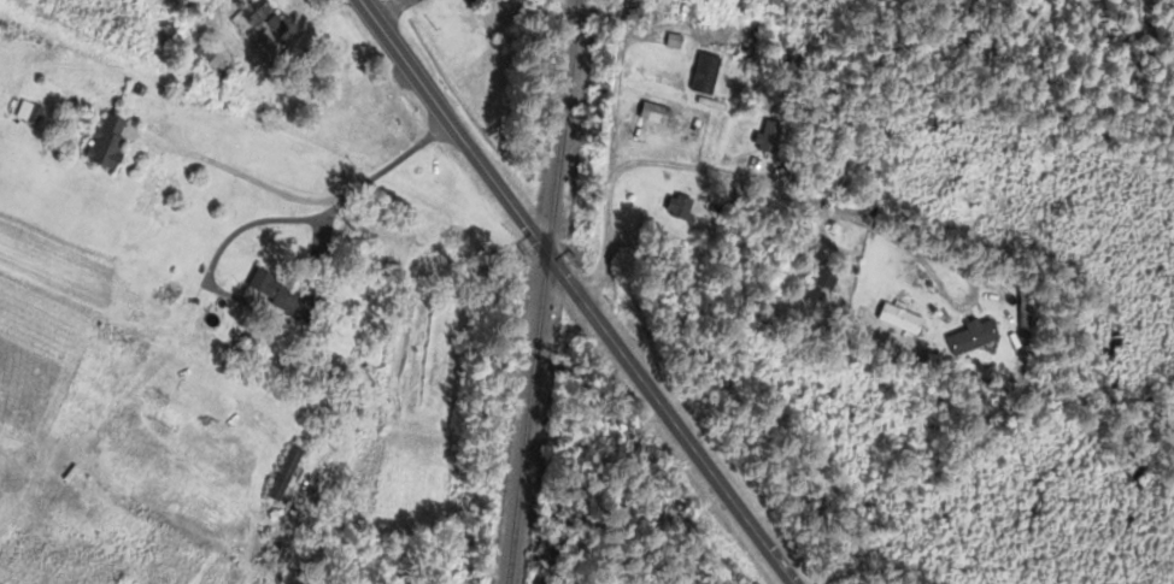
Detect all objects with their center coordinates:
road: (388, 10)
building: (258, 18)
building: (206, 64)
building: (702, 76)
building: (651, 114)
building: (765, 138)
building: (104, 143)
road: (609, 154)
road: (300, 196)
building: (677, 210)
road: (851, 217)
road: (321, 228)
road: (231, 234)
building: (257, 283)
building: (818, 287)
railway: (541, 291)
road: (575, 293)
building: (887, 317)
building: (969, 337)
building: (281, 474)

